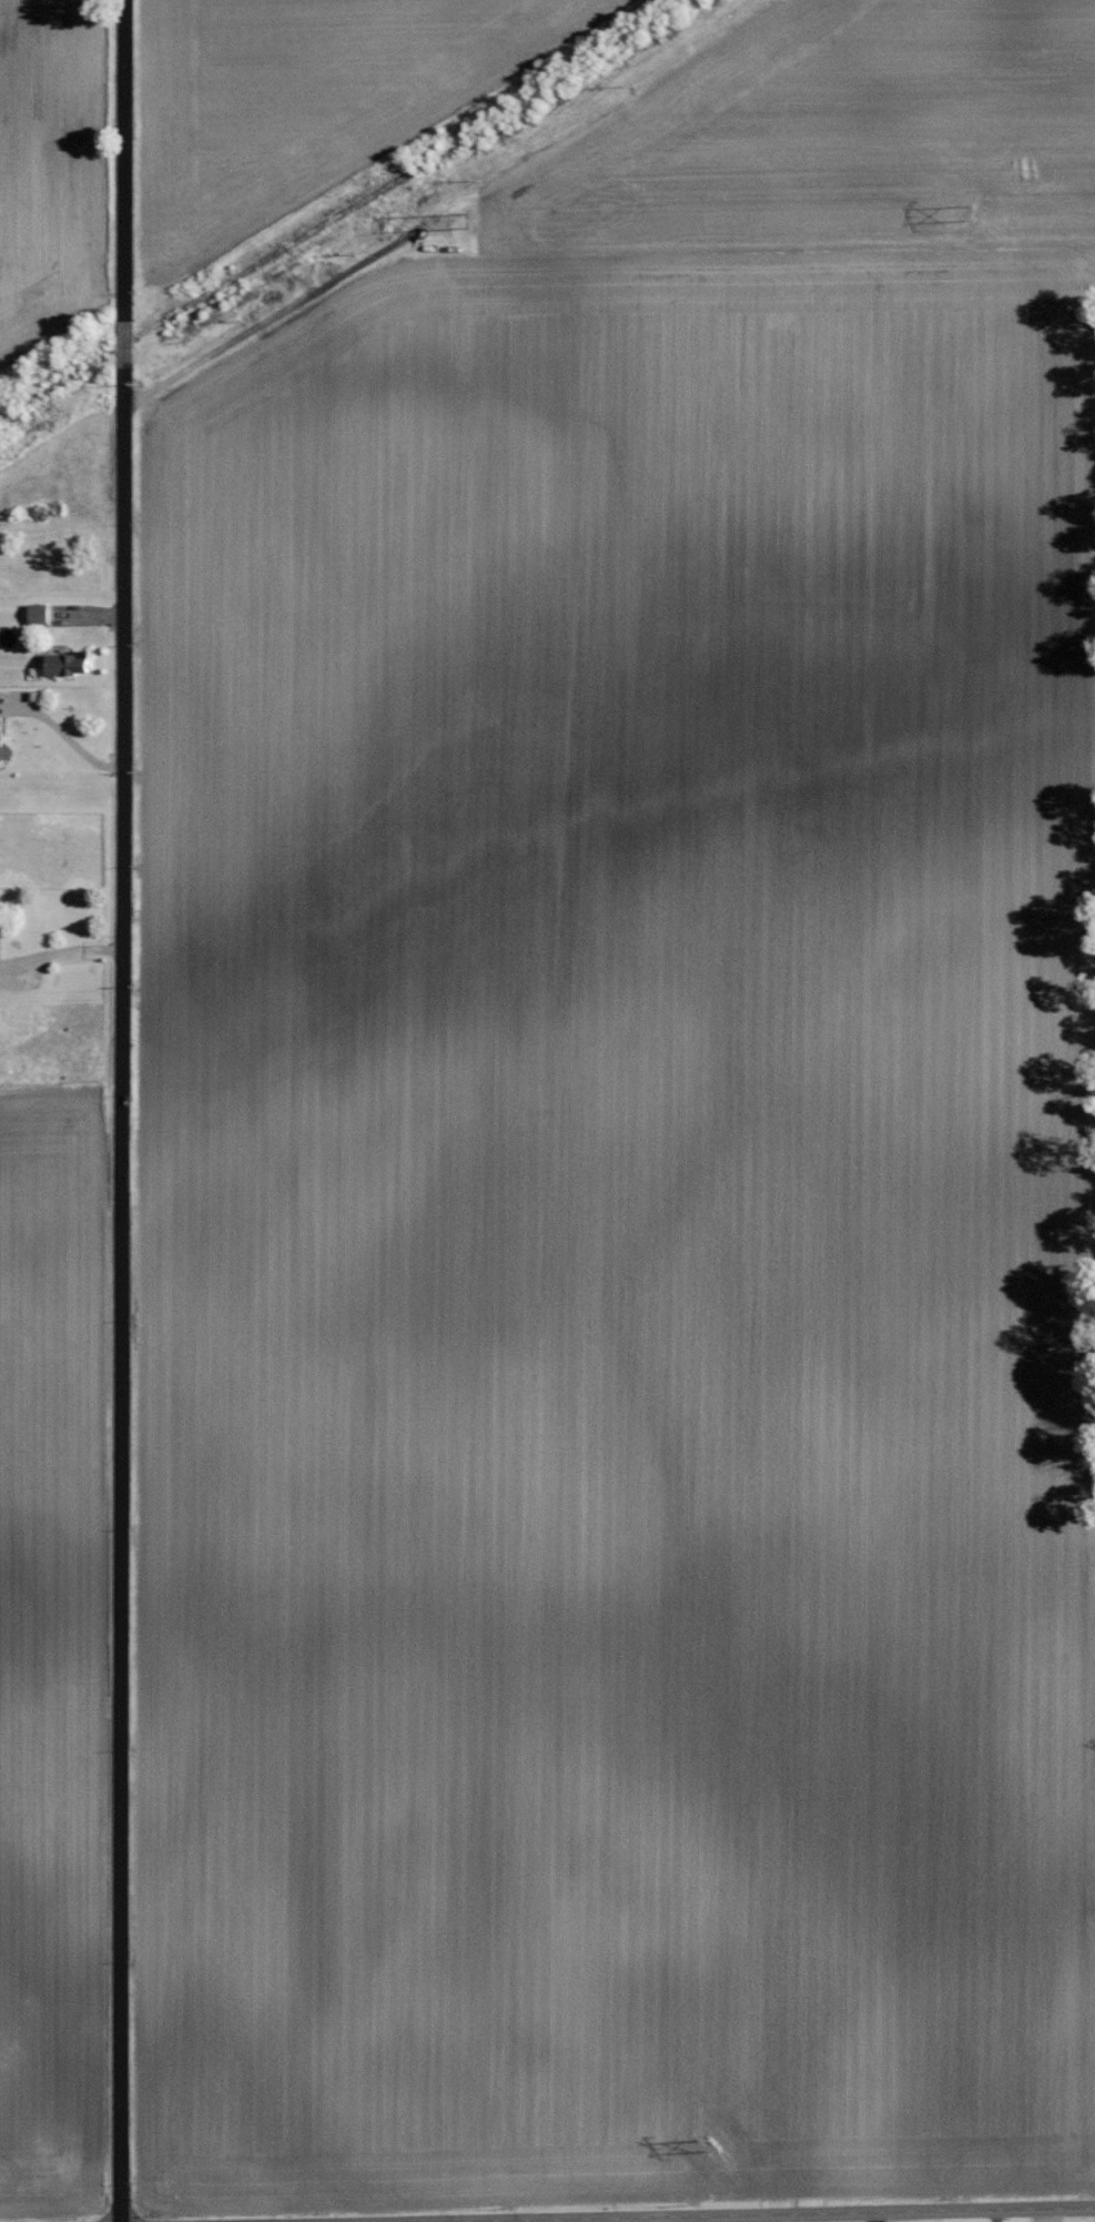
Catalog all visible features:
railway: (344, 212)
power tower: (971, 213)
power tower: (477, 219)
building: (40, 615)
building: (69, 665)
road: (62, 735)
building: (3, 748)
road: (60, 955)
road: (122, 1111)
power tower: (716, 2144)
road: (811, 2215)

